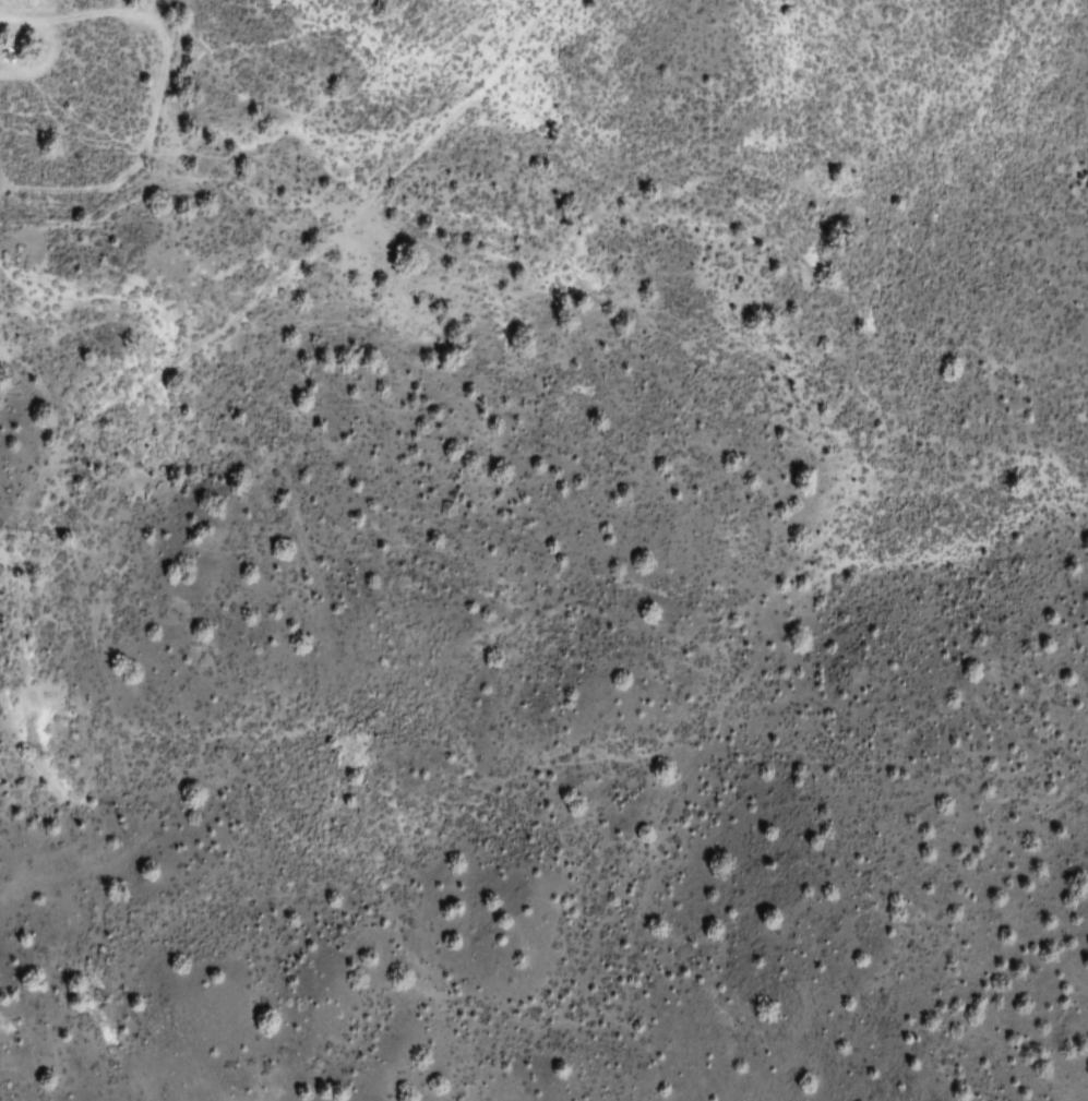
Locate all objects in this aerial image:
road: (147, 85)

